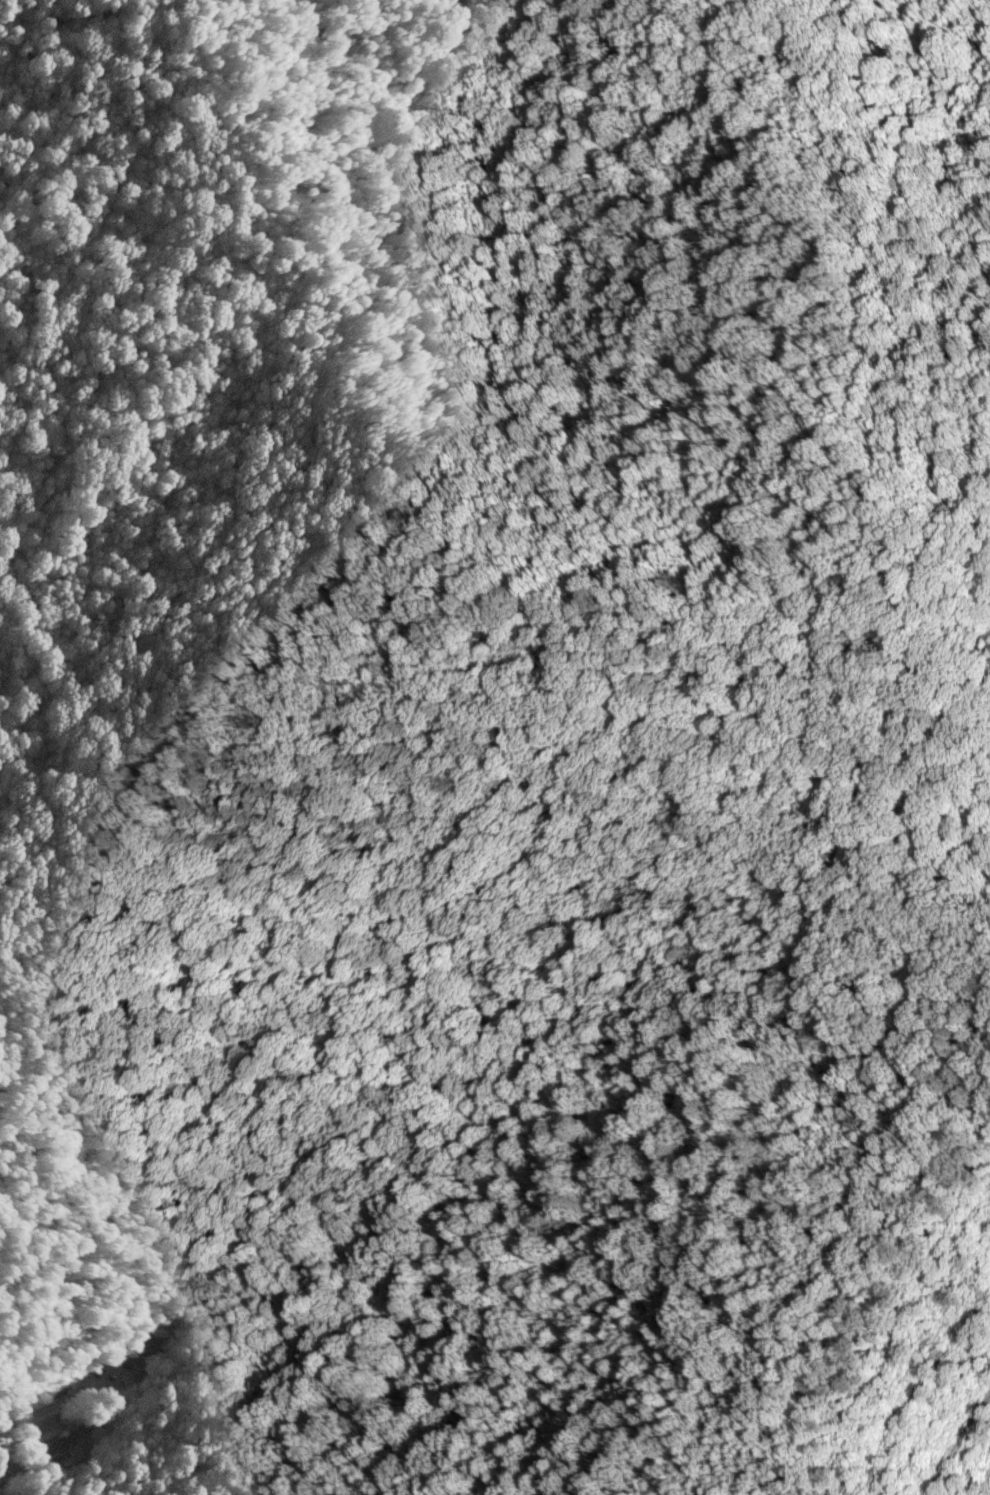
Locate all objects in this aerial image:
road: (6, 1462)

